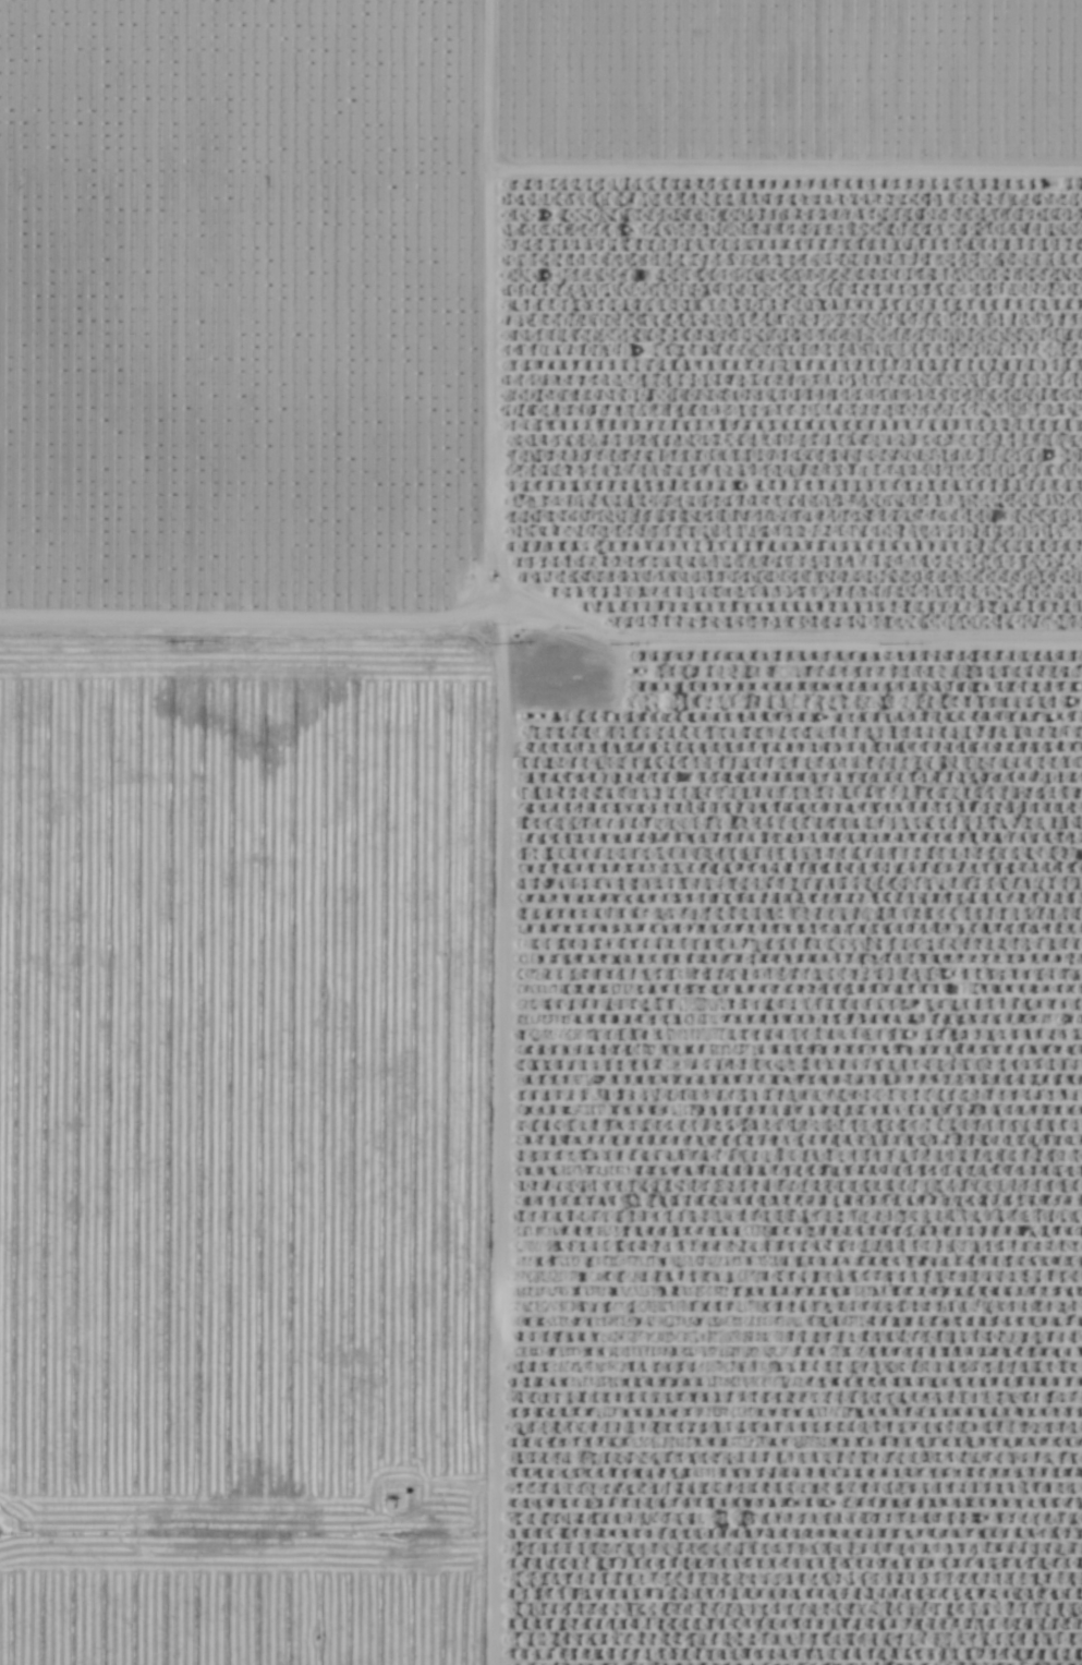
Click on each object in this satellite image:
road: (535, 668)

